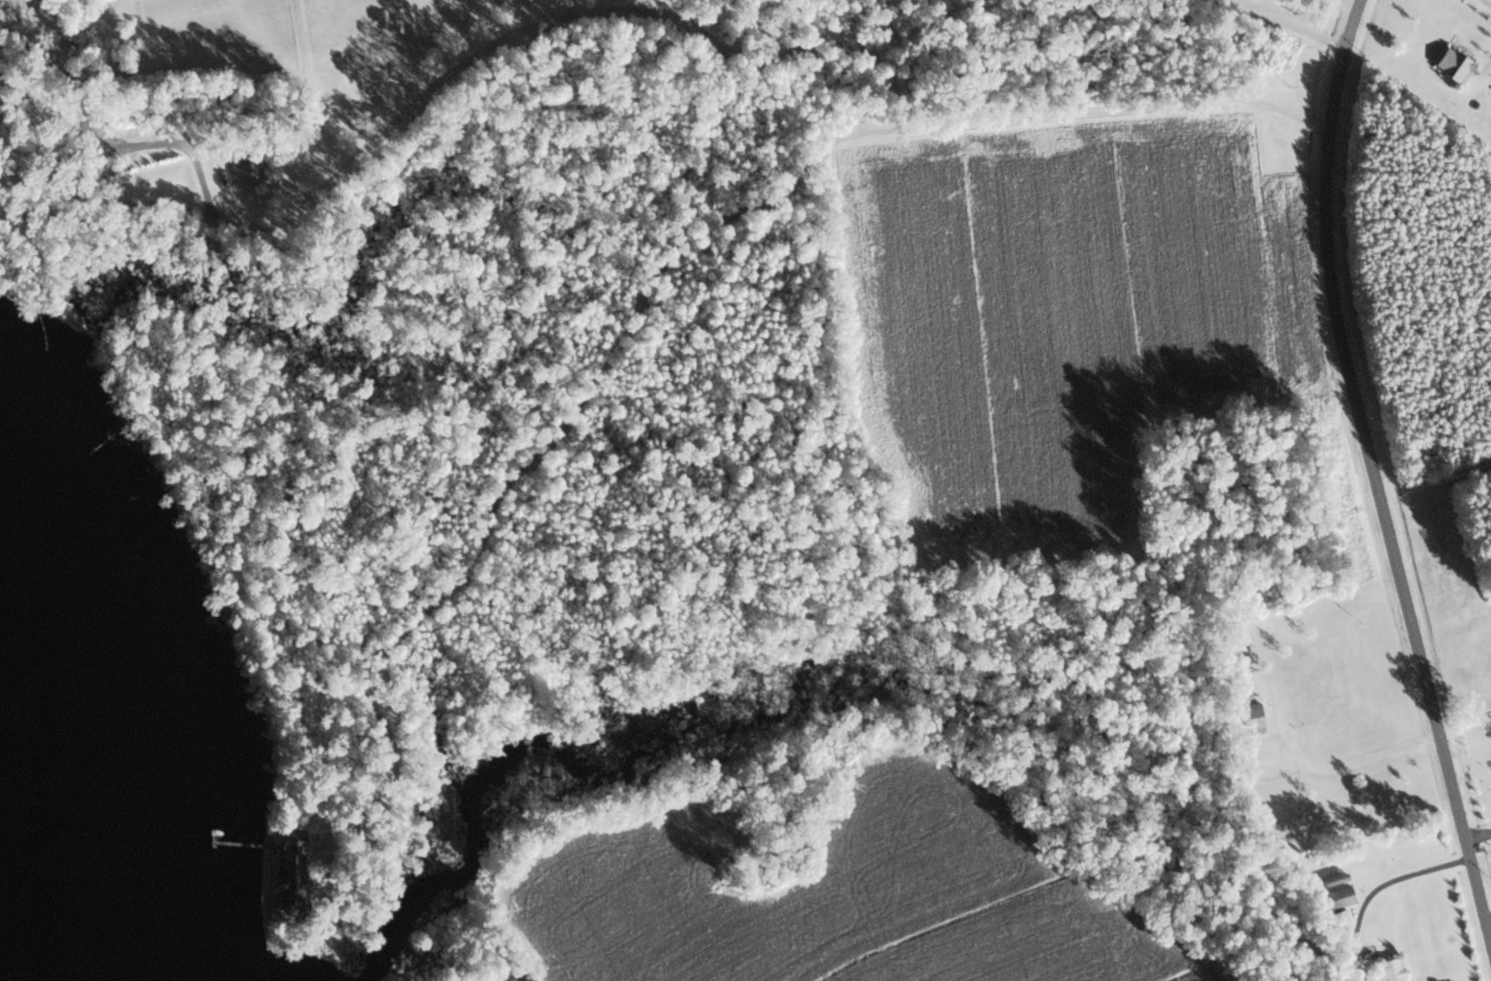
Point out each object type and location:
road: (1489, 1)
road: (1265, 19)
building: (1452, 64)
road: (1096, 112)
building: (246, 169)
road: (1374, 466)
building: (1295, 711)
road: (1464, 712)
building: (1254, 717)
road: (1377, 887)
building: (1340, 897)
building: (1342, 920)
building: (1389, 971)

